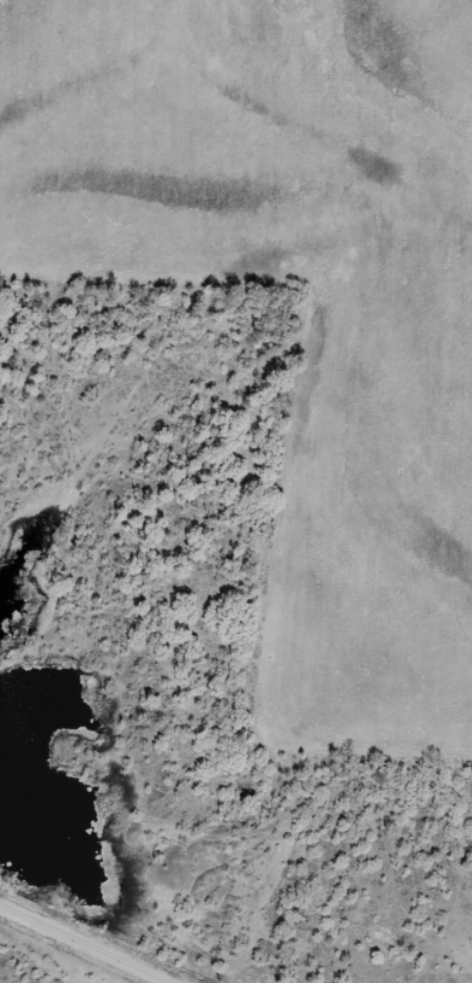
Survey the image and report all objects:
road: (89, 943)

